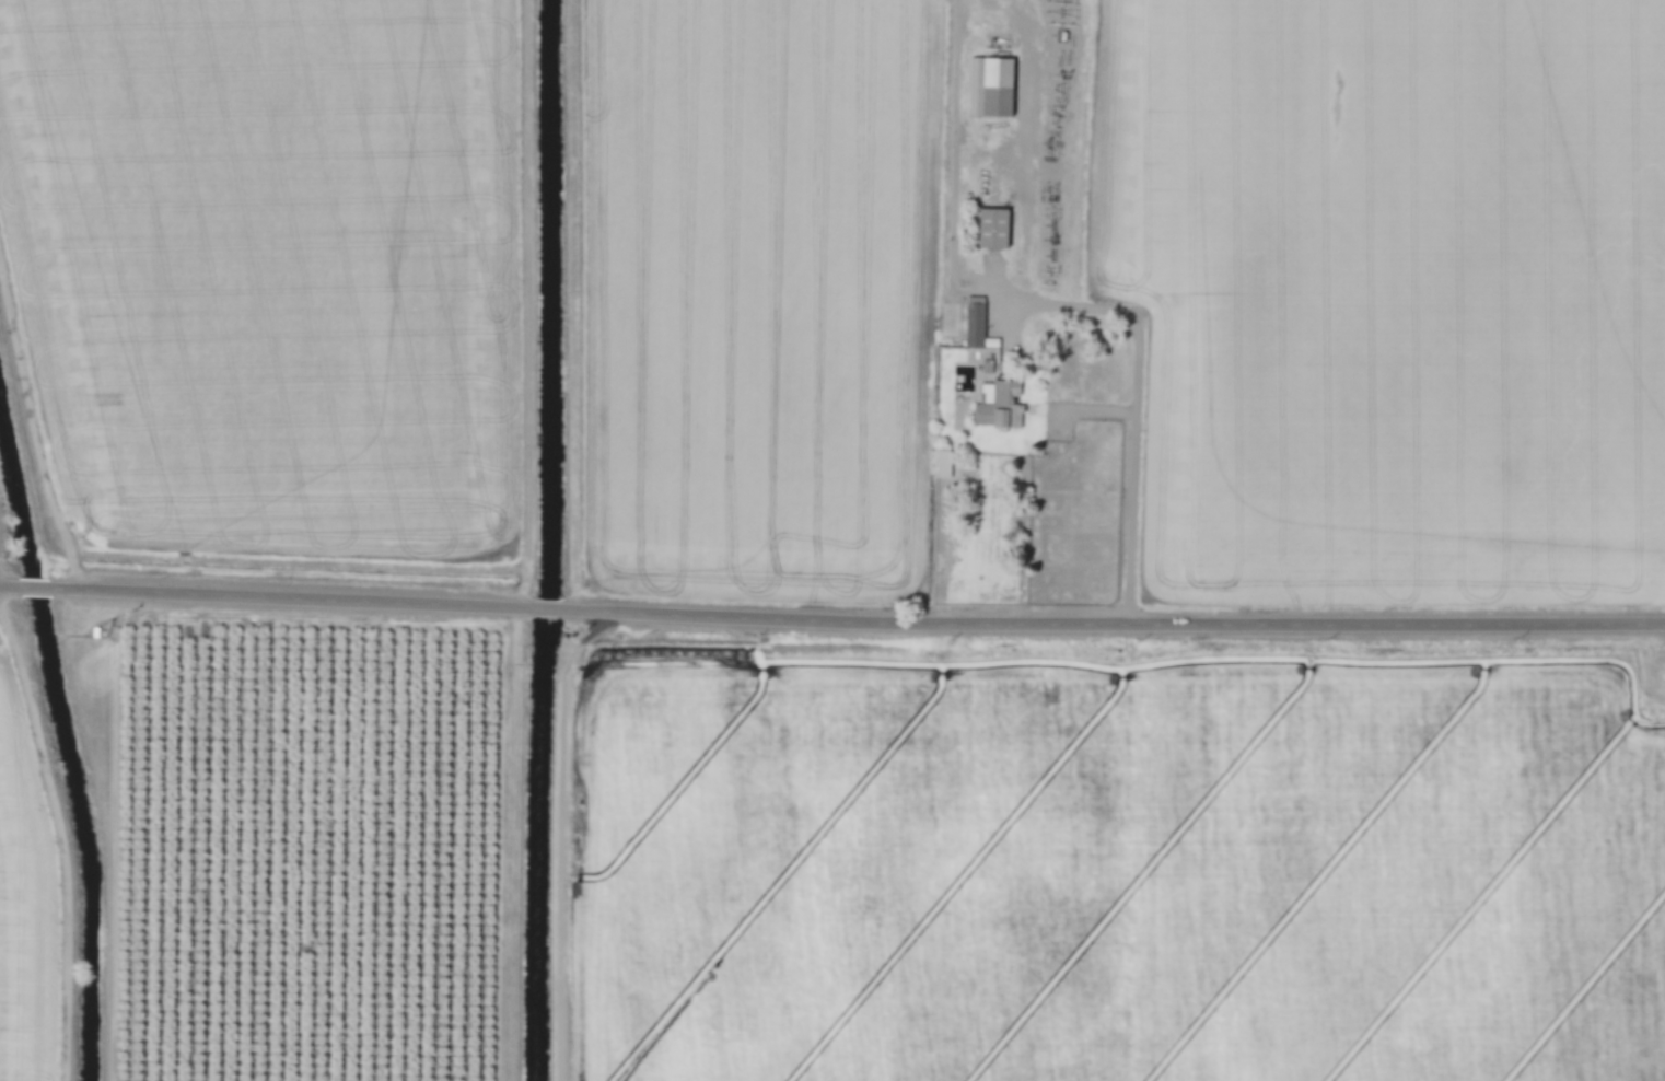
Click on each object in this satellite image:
building: (991, 85)
building: (991, 229)
road: (1058, 303)
building: (975, 325)
building: (998, 406)
road: (831, 623)
road: (58, 838)

